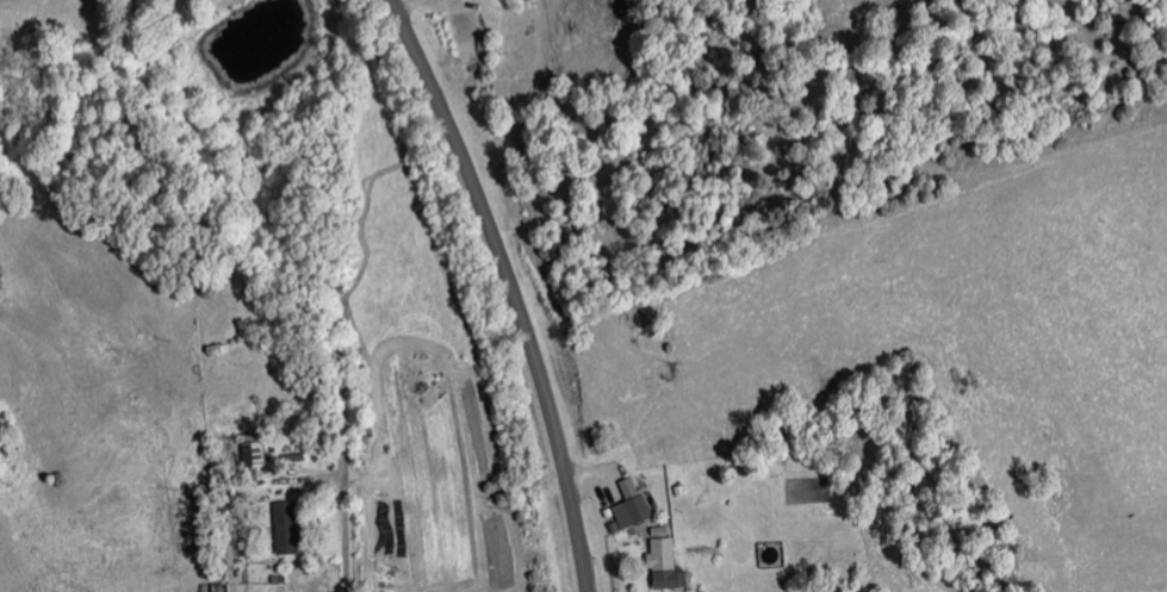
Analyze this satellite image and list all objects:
road: (511, 288)
building: (256, 453)
building: (633, 505)
road: (344, 517)
building: (290, 528)
building: (668, 565)

